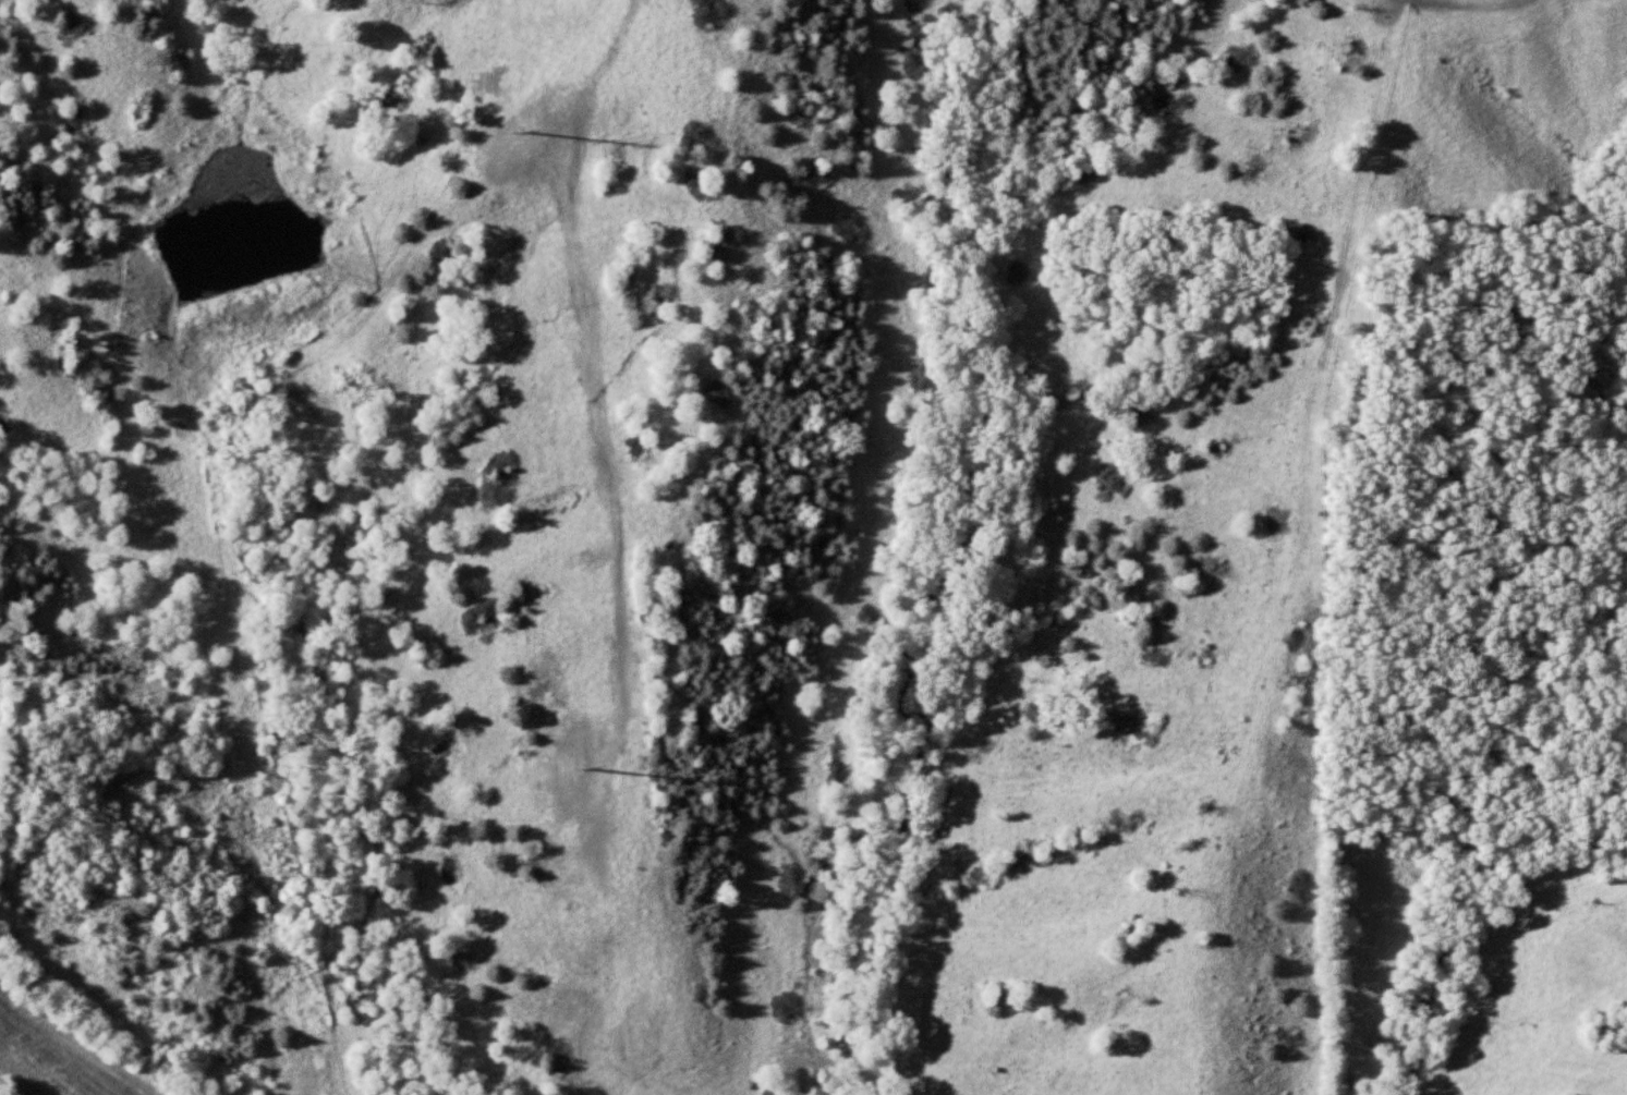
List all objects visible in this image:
power tower: (521, 125)
power tower: (585, 765)

